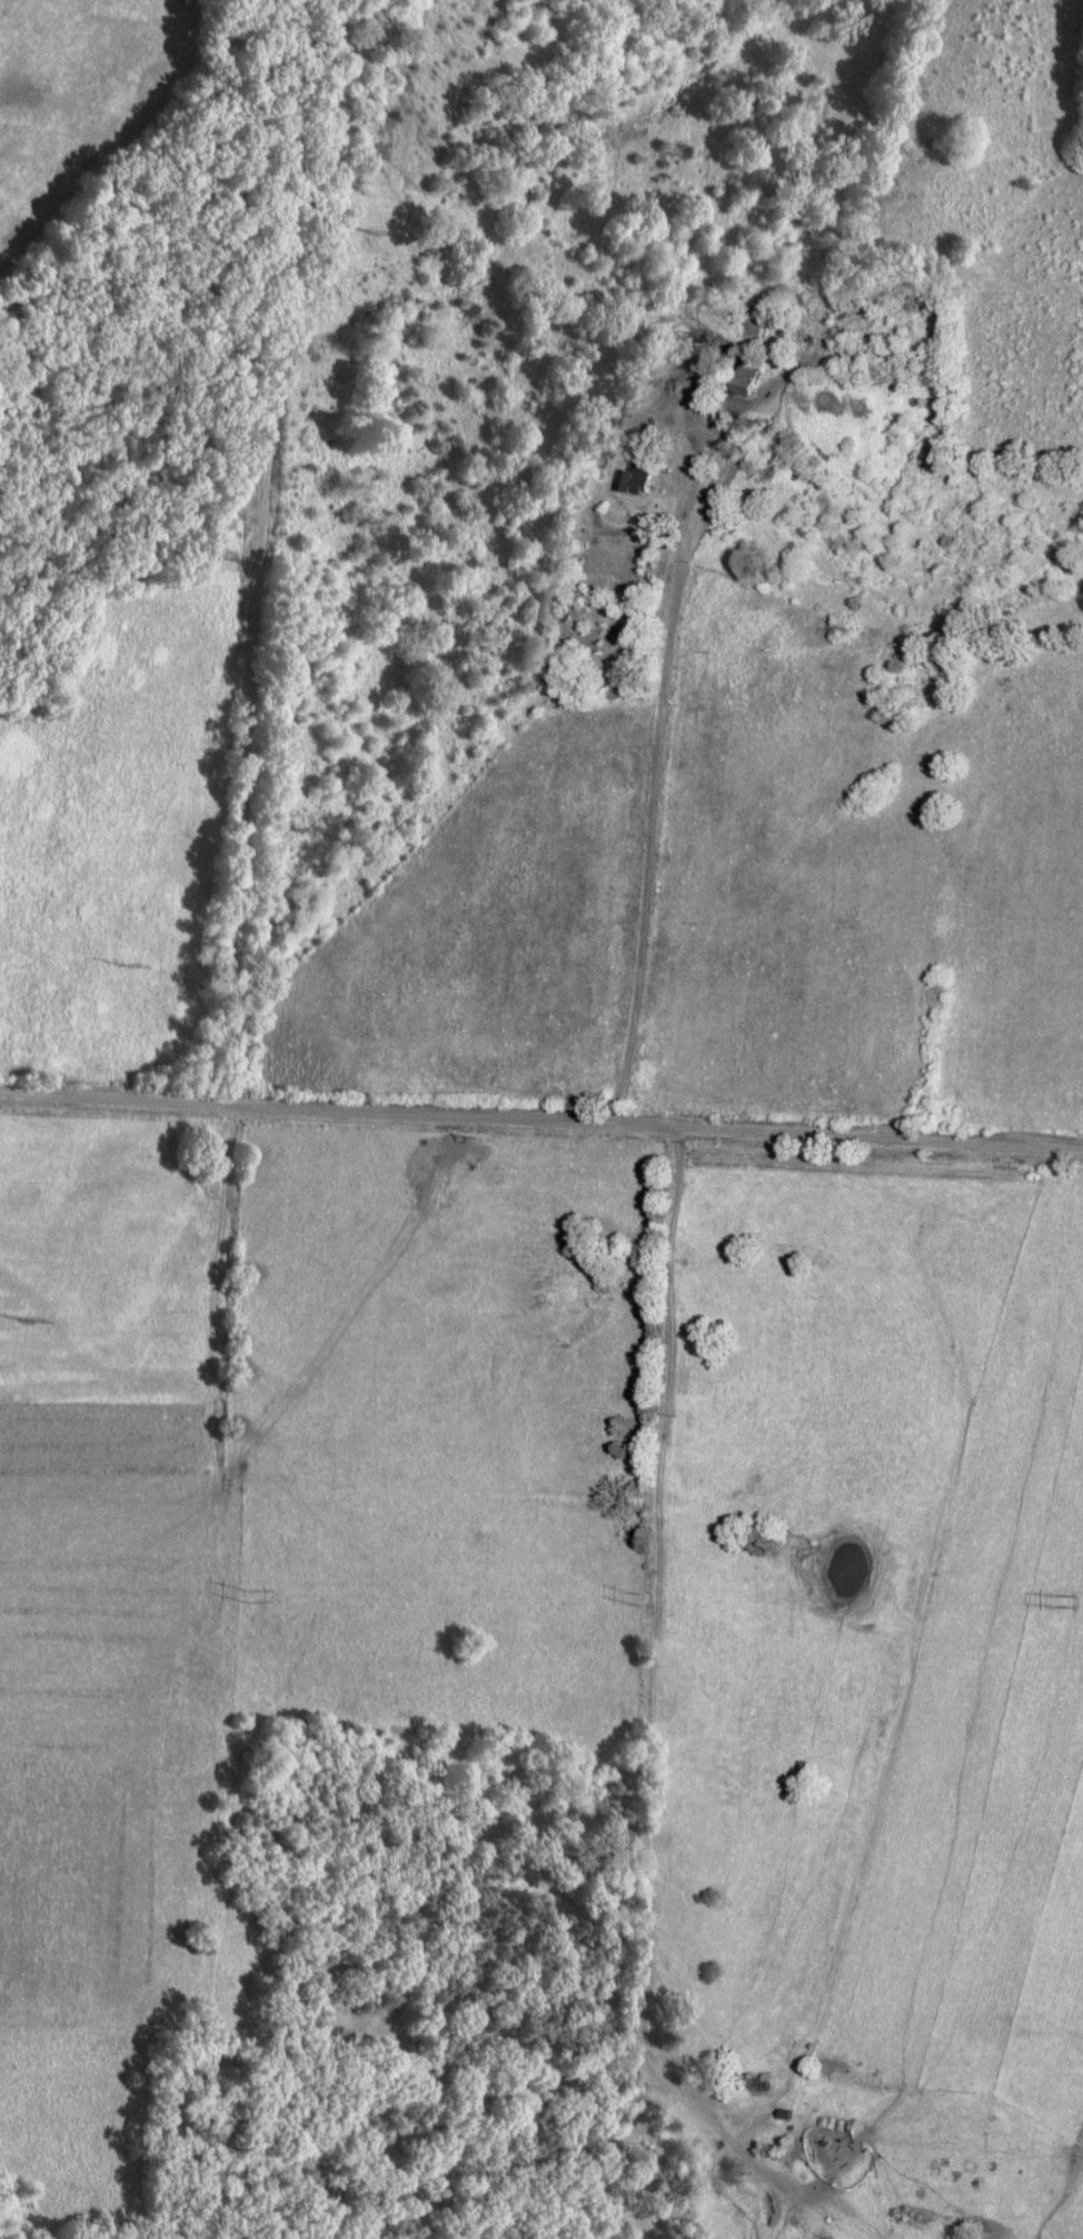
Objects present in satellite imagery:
building: (721, 287)
building: (693, 312)
building: (756, 377)
building: (587, 454)
building: (637, 478)
road: (262, 553)
road: (656, 732)
road: (540, 1128)
crop: (111, 1561)
road: (650, 1748)
building: (763, 2080)

